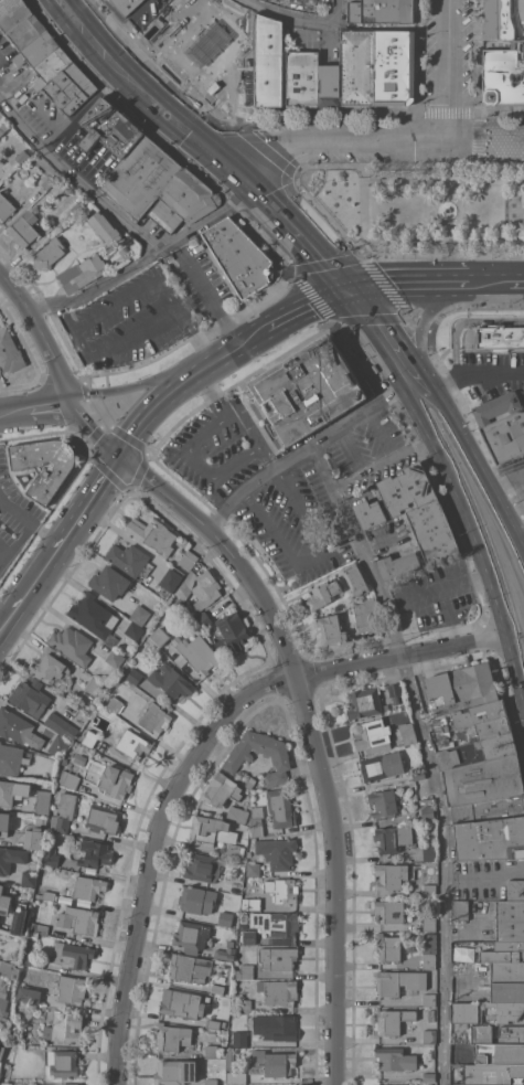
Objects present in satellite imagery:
building: (125, 6)
building: (379, 11)
building: (520, 12)
building: (11, 13)
road: (304, 18)
building: (495, 20)
building: (24, 32)
building: (38, 49)
building: (521, 52)
road: (418, 55)
road: (157, 57)
building: (266, 61)
building: (51, 64)
building: (355, 67)
building: (392, 67)
road: (449, 67)
building: (300, 78)
road: (478, 78)
building: (501, 78)
building: (328, 85)
road: (146, 87)
building: (68, 88)
road: (448, 110)
road: (317, 114)
building: (3, 126)
building: (107, 128)
road: (482, 128)
road: (159, 136)
road: (485, 137)
road: (523, 137)
road: (339, 139)
road: (260, 146)
parking lot: (397, 153)
building: (22, 156)
traffic signals: (235, 166)
road: (448, 166)
building: (138, 177)
road: (247, 177)
road: (74, 179)
building: (47, 181)
road: (438, 199)
building: (182, 201)
park: (424, 205)
building: (6, 206)
building: (76, 208)
fountain: (447, 211)
road: (327, 214)
road: (207, 219)
building: (104, 226)
building: (24, 228)
road: (308, 232)
road: (449, 240)
building: (47, 253)
road: (441, 256)
building: (236, 257)
road: (291, 270)
building: (82, 273)
road: (400, 279)
road: (478, 279)
road: (510, 279)
road: (520, 280)
traffic signals: (350, 285)
road: (94, 286)
road: (208, 292)
road: (430, 305)
road: (109, 306)
road: (307, 308)
road: (47, 311)
road: (410, 313)
road: (182, 317)
road: (158, 318)
road: (419, 321)
road: (464, 321)
road: (391, 330)
road: (40, 332)
road: (191, 336)
building: (499, 337)
road: (116, 341)
road: (83, 344)
building: (9, 351)
road: (231, 374)
road: (478, 374)
road: (447, 375)
road: (181, 381)
road: (45, 382)
road: (126, 386)
building: (309, 387)
road: (34, 405)
building: (495, 408)
road: (236, 418)
road: (89, 427)
road: (378, 427)
road: (81, 436)
building: (505, 437)
road: (345, 446)
road: (300, 449)
traffic signals: (118, 455)
road: (429, 461)
road: (478, 462)
building: (44, 464)
road: (200, 464)
road: (381, 466)
road: (140, 467)
road: (453, 489)
building: (404, 491)
building: (367, 515)
road: (26, 522)
building: (152, 534)
building: (430, 534)
road: (242, 541)
road: (58, 542)
road: (523, 543)
road: (313, 555)
building: (128, 557)
building: (189, 559)
building: (395, 568)
building: (171, 578)
building: (355, 578)
building: (110, 582)
building: (205, 588)
building: (323, 593)
building: (93, 614)
building: (140, 614)
building: (368, 616)
building: (203, 618)
building: (331, 628)
building: (133, 629)
building: (234, 632)
building: (160, 636)
road: (395, 636)
building: (72, 643)
building: (196, 653)
building: (115, 658)
road: (445, 664)
building: (49, 666)
building: (133, 676)
building: (171, 680)
building: (93, 685)
building: (461, 687)
building: (395, 689)
building: (30, 695)
building: (364, 703)
building: (116, 704)
building: (156, 717)
building: (484, 719)
building: (61, 724)
building: (96, 725)
building: (18, 727)
building: (408, 732)
building: (441, 734)
building: (373, 735)
road: (310, 736)
building: (89, 737)
building: (133, 743)
building: (58, 744)
road: (196, 754)
road: (426, 754)
building: (239, 757)
building: (10, 758)
building: (79, 758)
building: (381, 765)
building: (483, 769)
building: (418, 774)
building: (68, 778)
building: (116, 780)
building: (250, 783)
building: (221, 788)
building: (12, 790)
building: (42, 801)
building: (383, 801)
building: (281, 806)
building: (489, 810)
building: (63, 811)
building: (427, 811)
building: (237, 813)
building: (103, 818)
building: (4, 820)
building: (256, 820)
building: (212, 830)
building: (33, 838)
building: (394, 838)
building: (490, 839)
building: (235, 849)
building: (277, 851)
building: (429, 852)
building: (94, 853)
building: (51, 857)
building: (11, 858)
building: (202, 866)
building: (253, 868)
building: (392, 875)
building: (430, 876)
building: (29, 877)
building: (88, 886)
building: (282, 890)
building: (428, 890)
building: (515, 890)
building: (45, 894)
building: (196, 898)
building: (4, 901)
building: (252, 903)
building: (460, 910)
building: (391, 911)
building: (225, 917)
building: (244, 917)
building: (79, 919)
building: (510, 919)
building: (25, 923)
building: (429, 923)
building: (276, 925)
building: (191, 935)
building: (249, 936)
building: (388, 946)
building: (428, 950)
building: (226, 951)
building: (504, 951)
building: (462, 953)
building: (73, 955)
building: (278, 957)
building: (32, 960)
building: (190, 967)
building: (9, 968)
building: (244, 970)
building: (507, 971)
building: (399, 981)
building: (71, 988)
building: (217, 988)
building: (278, 990)
building: (506, 991)
building: (29, 993)
building: (429, 999)
building: (179, 1002)
building: (3, 1004)
building: (244, 1004)
building: (19, 1006)
building: (486, 1011)
building: (431, 1014)
building: (393, 1020)
building: (213, 1023)
building: (64, 1027)
building: (278, 1027)
building: (511, 1032)
building: (172, 1035)
building: (429, 1035)
building: (239, 1038)
building: (1, 1049)
building: (211, 1051)
building: (500, 1053)
building: (229, 1057)
building: (395, 1059)
building: (62, 1062)
building: (271, 1062)
building: (175, 1072)
building: (491, 1073)
building: (427, 1075)
building: (236, 1077)
building: (211, 1081)
building: (428, 1083)
building: (68, 1084)
building: (379, 1084)

